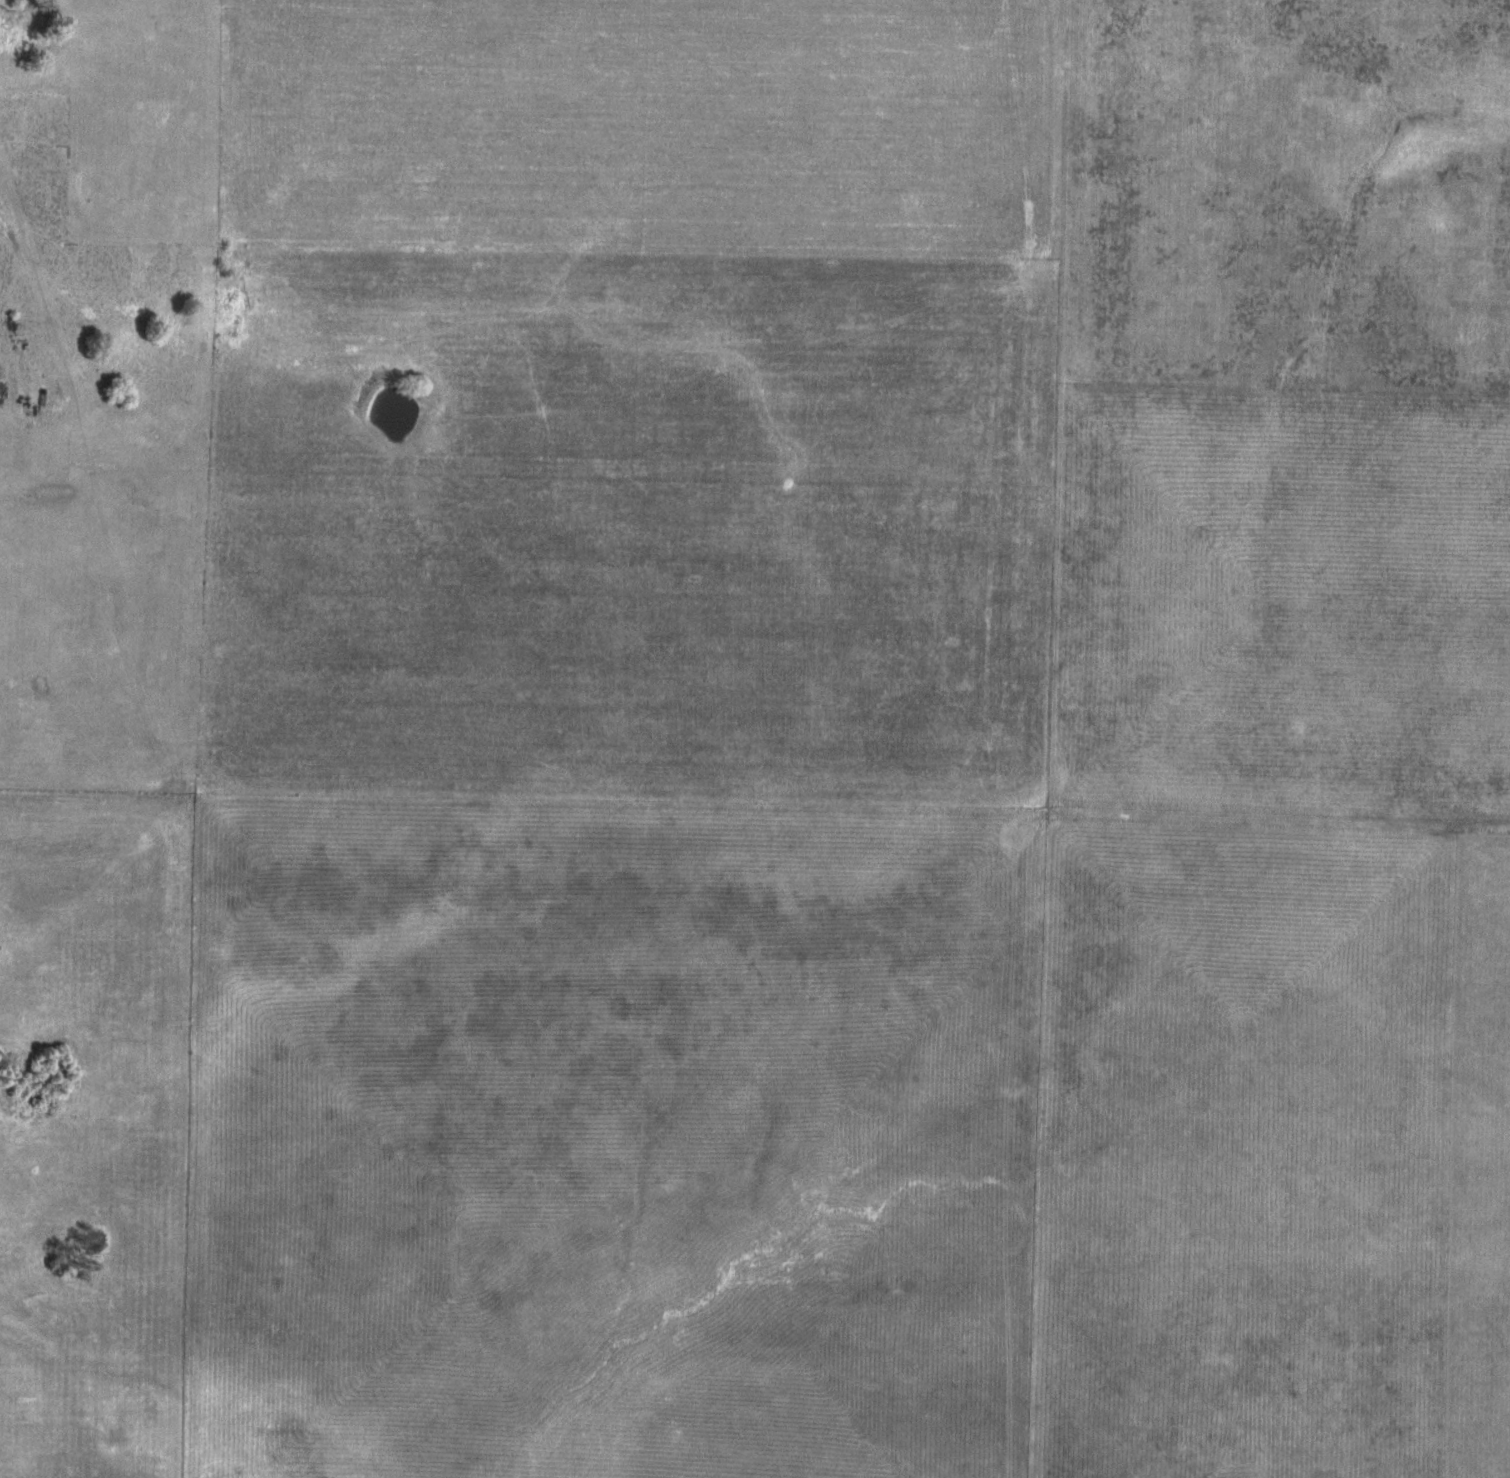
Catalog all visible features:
road: (1277, 822)

